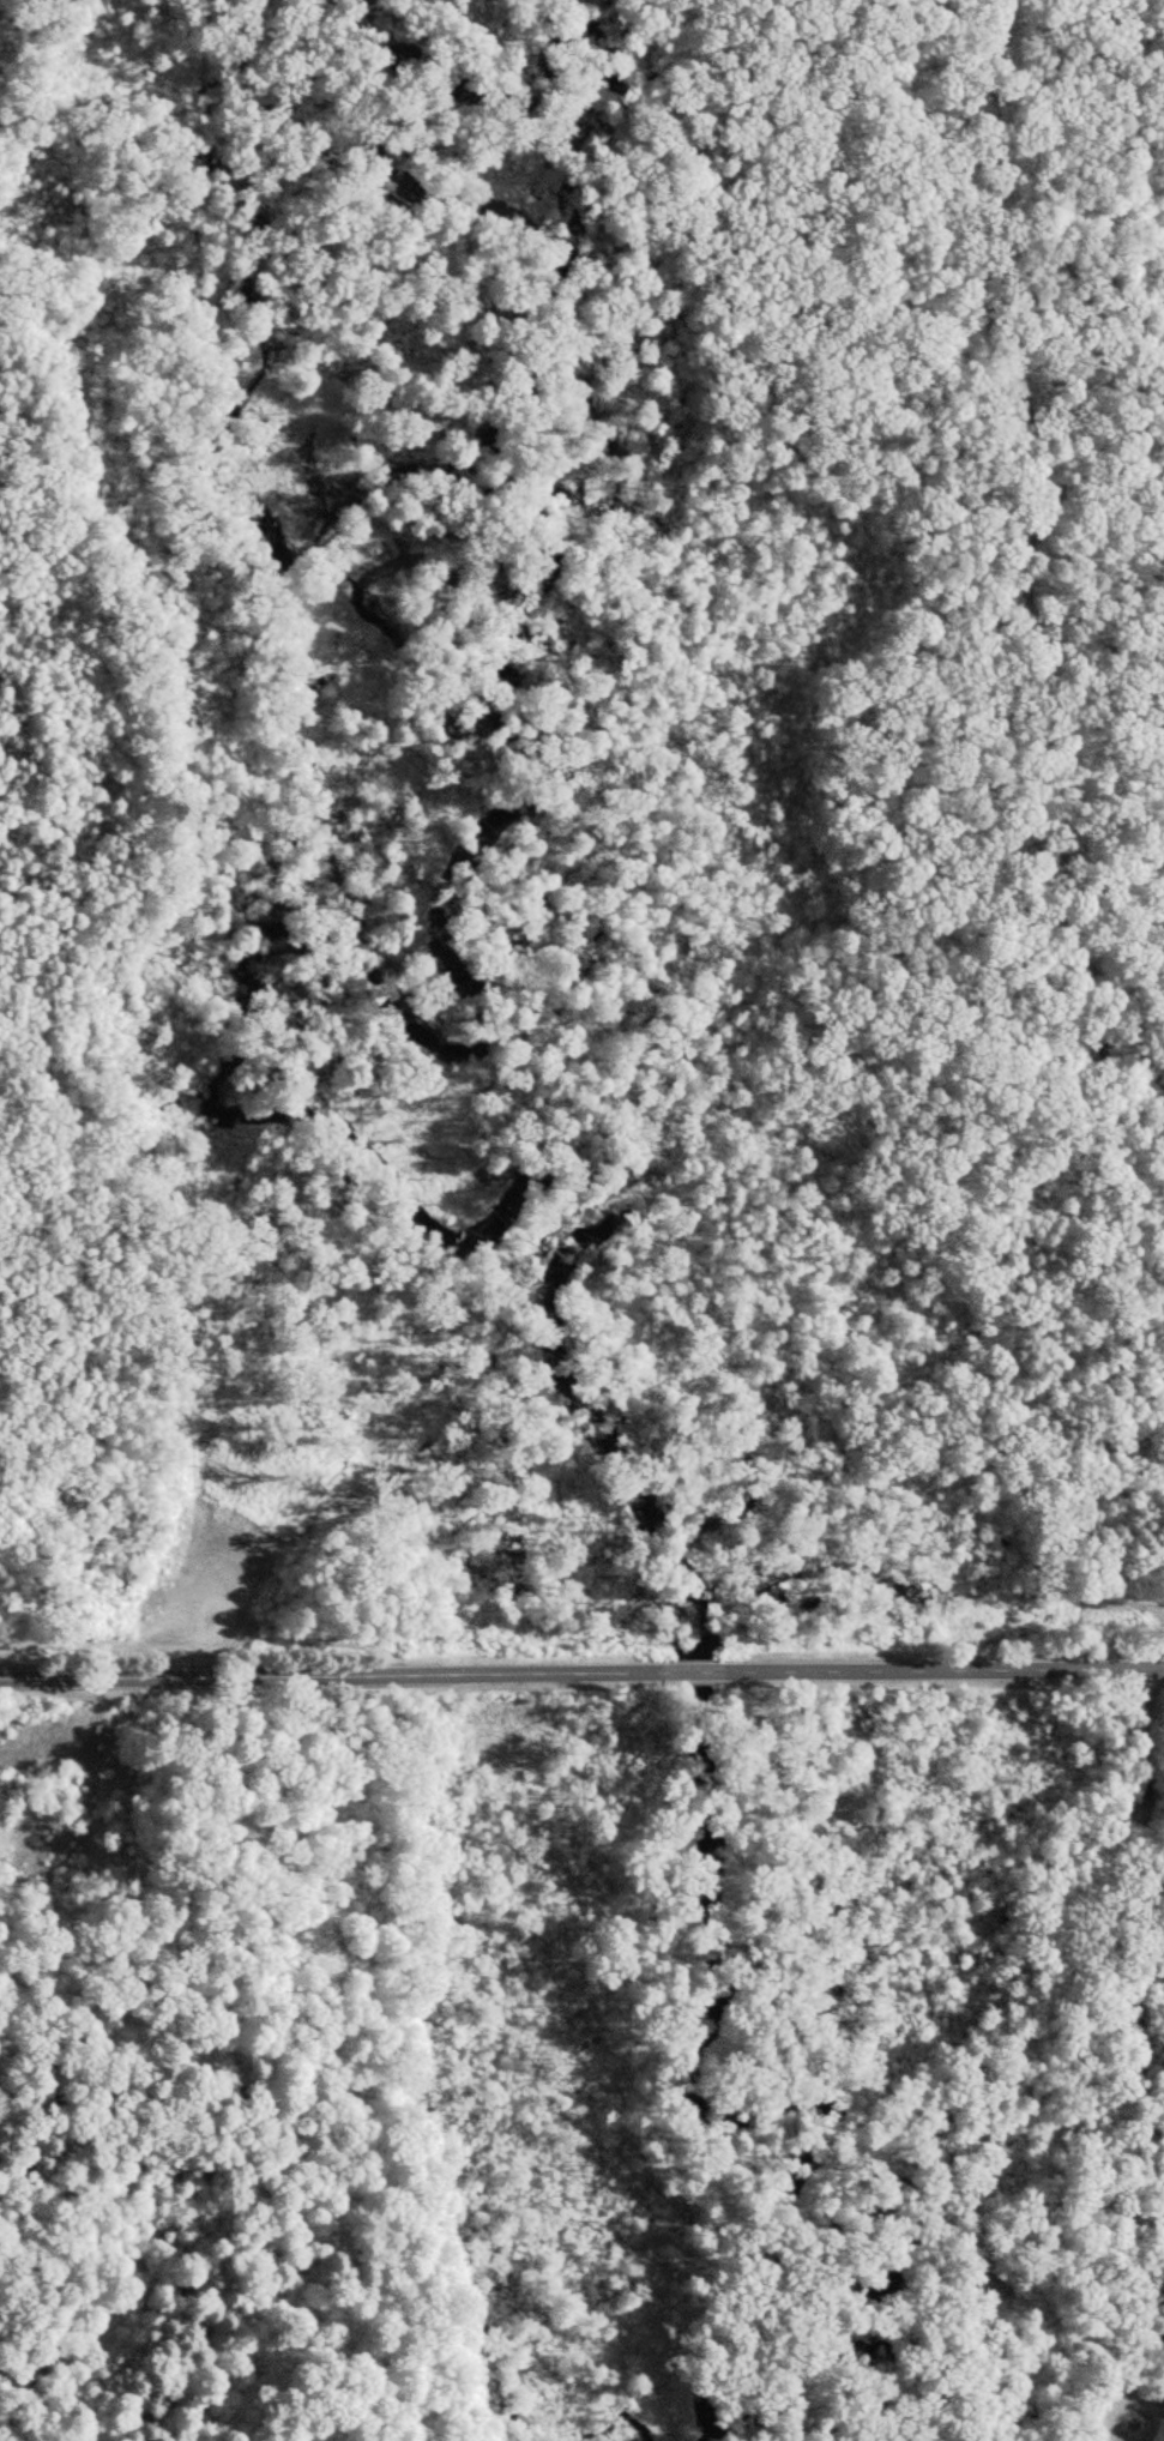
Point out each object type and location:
road: (1008, 557)
road: (907, 1175)
road: (953, 1662)
road: (690, 1664)
road: (320, 1670)

